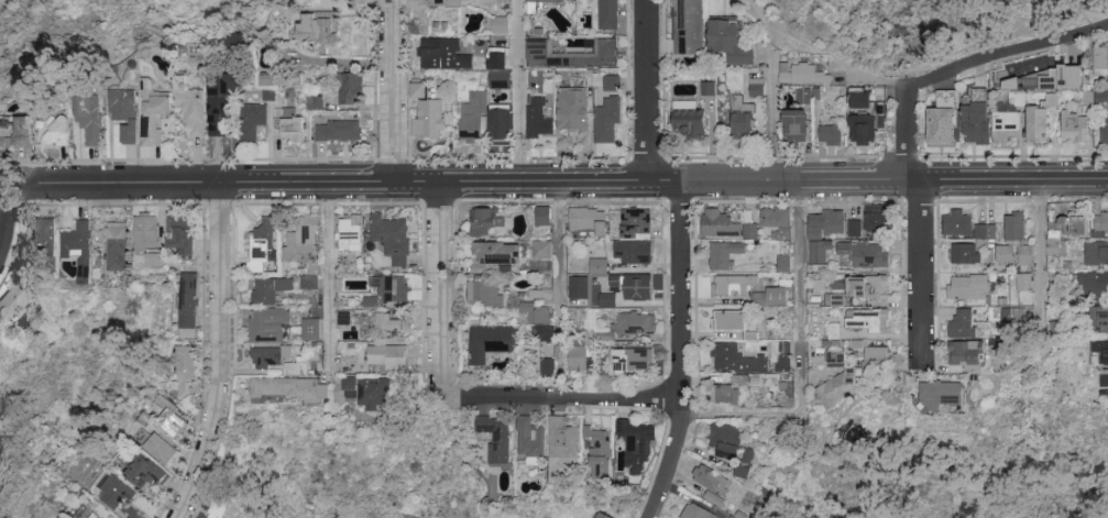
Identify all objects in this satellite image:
building: (547, 1)
building: (362, 3)
building: (446, 3)
road: (758, 3)
road: (761, 3)
building: (607, 14)
building: (497, 24)
building: (318, 27)
building: (688, 27)
road: (975, 32)
road: (768, 34)
building: (729, 42)
building: (237, 44)
road: (1005, 49)
building: (498, 52)
building: (448, 53)
building: (571, 54)
road: (830, 58)
building: (1100, 60)
building: (1056, 73)
building: (801, 74)
building: (274, 79)
building: (500, 79)
building: (613, 81)
building: (758, 86)
building: (710, 87)
building: (350, 88)
road: (519, 92)
road: (648, 92)
building: (270, 93)
road: (394, 93)
building: (810, 93)
building: (1102, 95)
building: (317, 100)
building: (860, 100)
building: (190, 106)
building: (219, 108)
building: (573, 109)
building: (124, 112)
building: (88, 113)
building: (153, 113)
building: (428, 114)
road: (771, 115)
building: (742, 118)
building: (252, 120)
building: (483, 120)
building: (607, 121)
building: (689, 122)
building: (538, 123)
building: (975, 123)
building: (1036, 123)
building: (1005, 124)
building: (289, 125)
building: (941, 125)
building: (794, 126)
building: (1074, 126)
building: (862, 129)
building: (1104, 129)
building: (58, 130)
building: (338, 130)
building: (18, 132)
building: (830, 133)
road: (909, 137)
road: (779, 184)
road: (1009, 185)
road: (108, 187)
road: (435, 187)
building: (542, 216)
building: (776, 218)
building: (586, 220)
building: (487, 221)
building: (956, 222)
building: (1100, 222)
building: (875, 223)
building: (1075, 223)
building: (830, 224)
building: (725, 225)
building: (1014, 227)
road: (6, 228)
building: (854, 228)
building: (145, 230)
building: (349, 232)
building: (985, 232)
building: (180, 233)
building: (45, 236)
building: (304, 238)
building: (392, 238)
building: (634, 238)
building: (76, 240)
building: (262, 244)
building: (1055, 244)
building: (117, 246)
building: (542, 250)
road: (1039, 250)
building: (1003, 253)
building: (1096, 253)
building: (819, 254)
building: (866, 254)
building: (965, 254)
building: (723, 255)
building: (1024, 255)
building: (160, 256)
building: (496, 256)
building: (783, 264)
building: (597, 265)
road: (922, 269)
building: (573, 279)
road: (332, 280)
building: (1023, 282)
building: (1095, 284)
building: (733, 285)
building: (393, 287)
building: (867, 287)
building: (968, 287)
building: (271, 289)
building: (627, 289)
road: (440, 291)
road: (561, 293)
building: (484, 294)
building: (771, 297)
building: (834, 299)
building: (12, 301)
building: (190, 306)
building: (537, 312)
building: (1012, 316)
building: (344, 318)
building: (729, 320)
building: (866, 320)
building: (1099, 320)
building: (392, 322)
building: (635, 322)
building: (963, 323)
building: (268, 326)
building: (835, 329)
building: (311, 330)
building: (546, 333)
building: (859, 342)
building: (490, 343)
building: (1100, 349)
road: (682, 353)
building: (876, 353)
road: (222, 355)
building: (966, 355)
building: (783, 356)
building: (386, 357)
building: (577, 357)
road: (801, 357)
building: (836, 357)
building: (277, 360)
building: (632, 360)
building: (736, 360)
building: (546, 366)
building: (186, 372)
building: (1104, 379)
building: (840, 387)
building: (289, 388)
building: (367, 392)
building: (725, 394)
building: (941, 394)
road: (562, 399)
building: (173, 417)
building: (496, 437)
building: (562, 438)
building: (530, 440)
building: (725, 440)
building: (637, 444)
building: (161, 449)
building: (599, 451)
building: (743, 470)
building: (145, 474)
building: (707, 477)
building: (116, 493)
building: (714, 496)
building: (220, 507)
building: (696, 511)
building: (97, 514)
building: (602, 516)
building: (732, 517)

